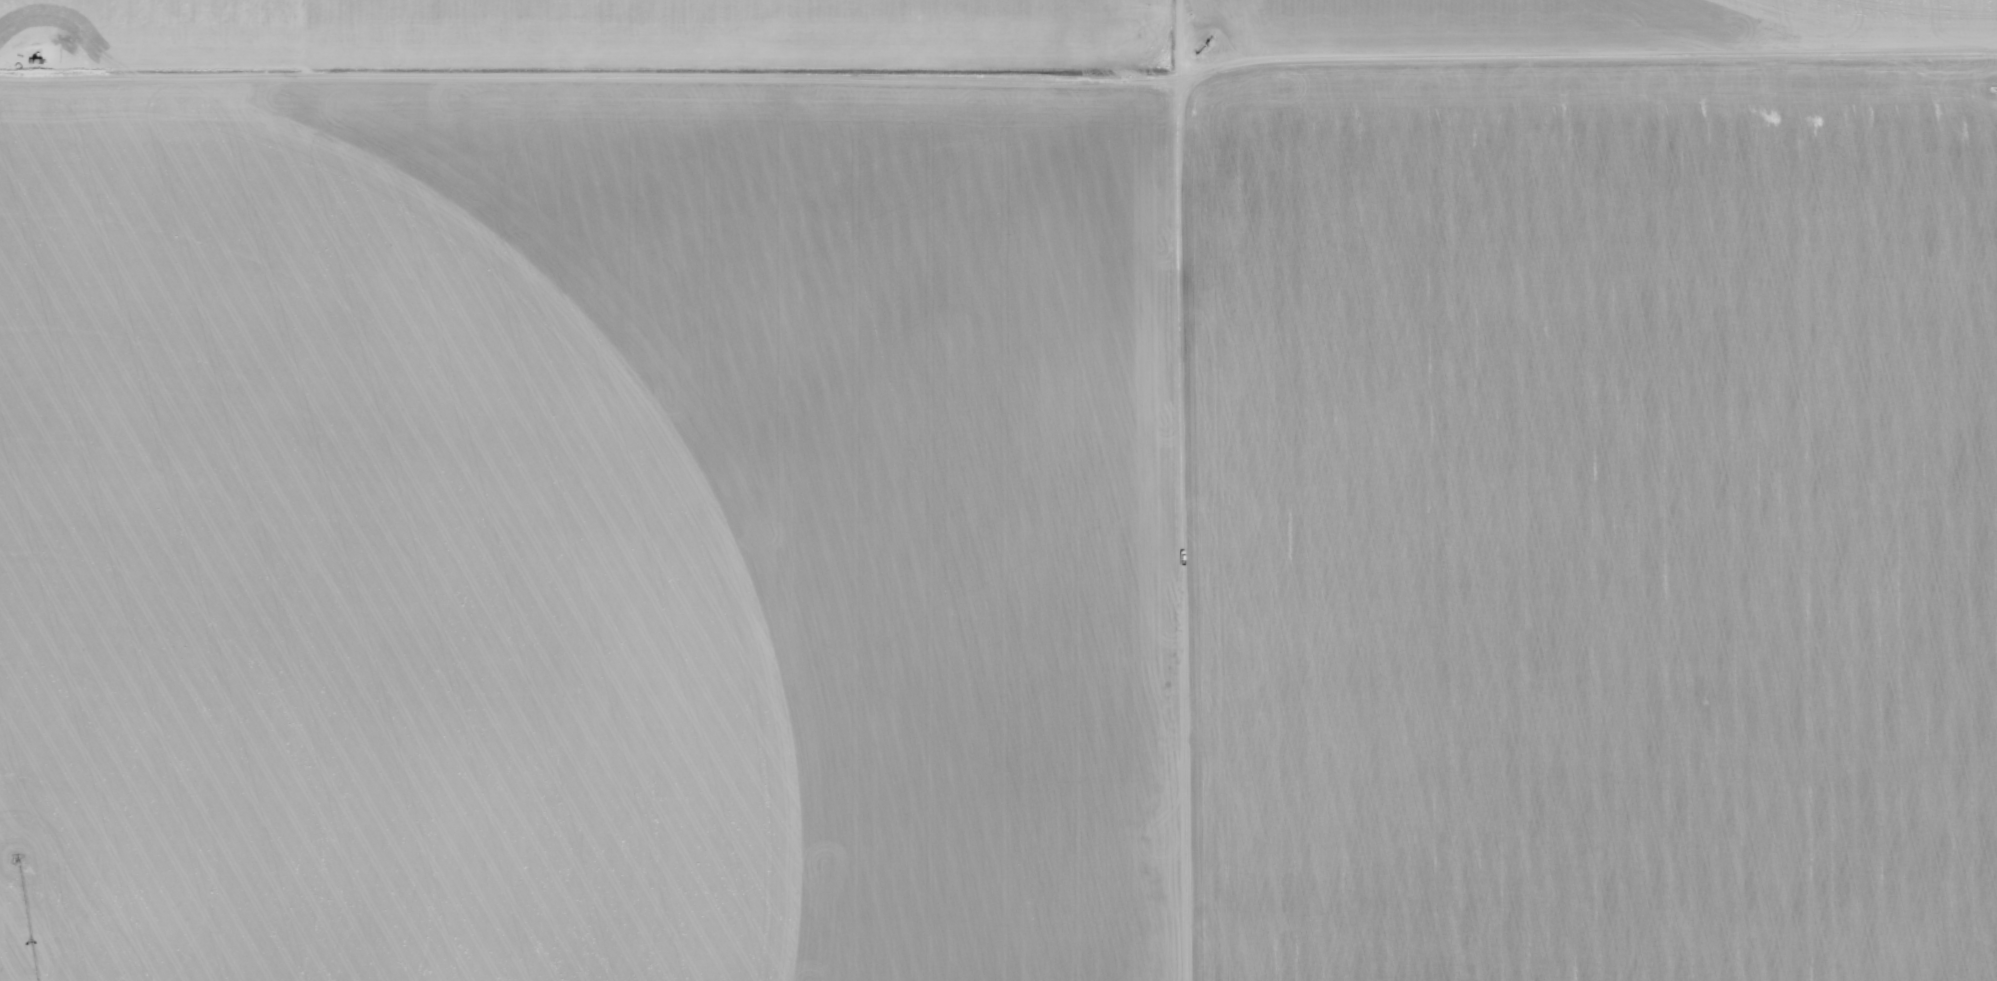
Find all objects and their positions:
road: (998, 75)
road: (1162, 490)

